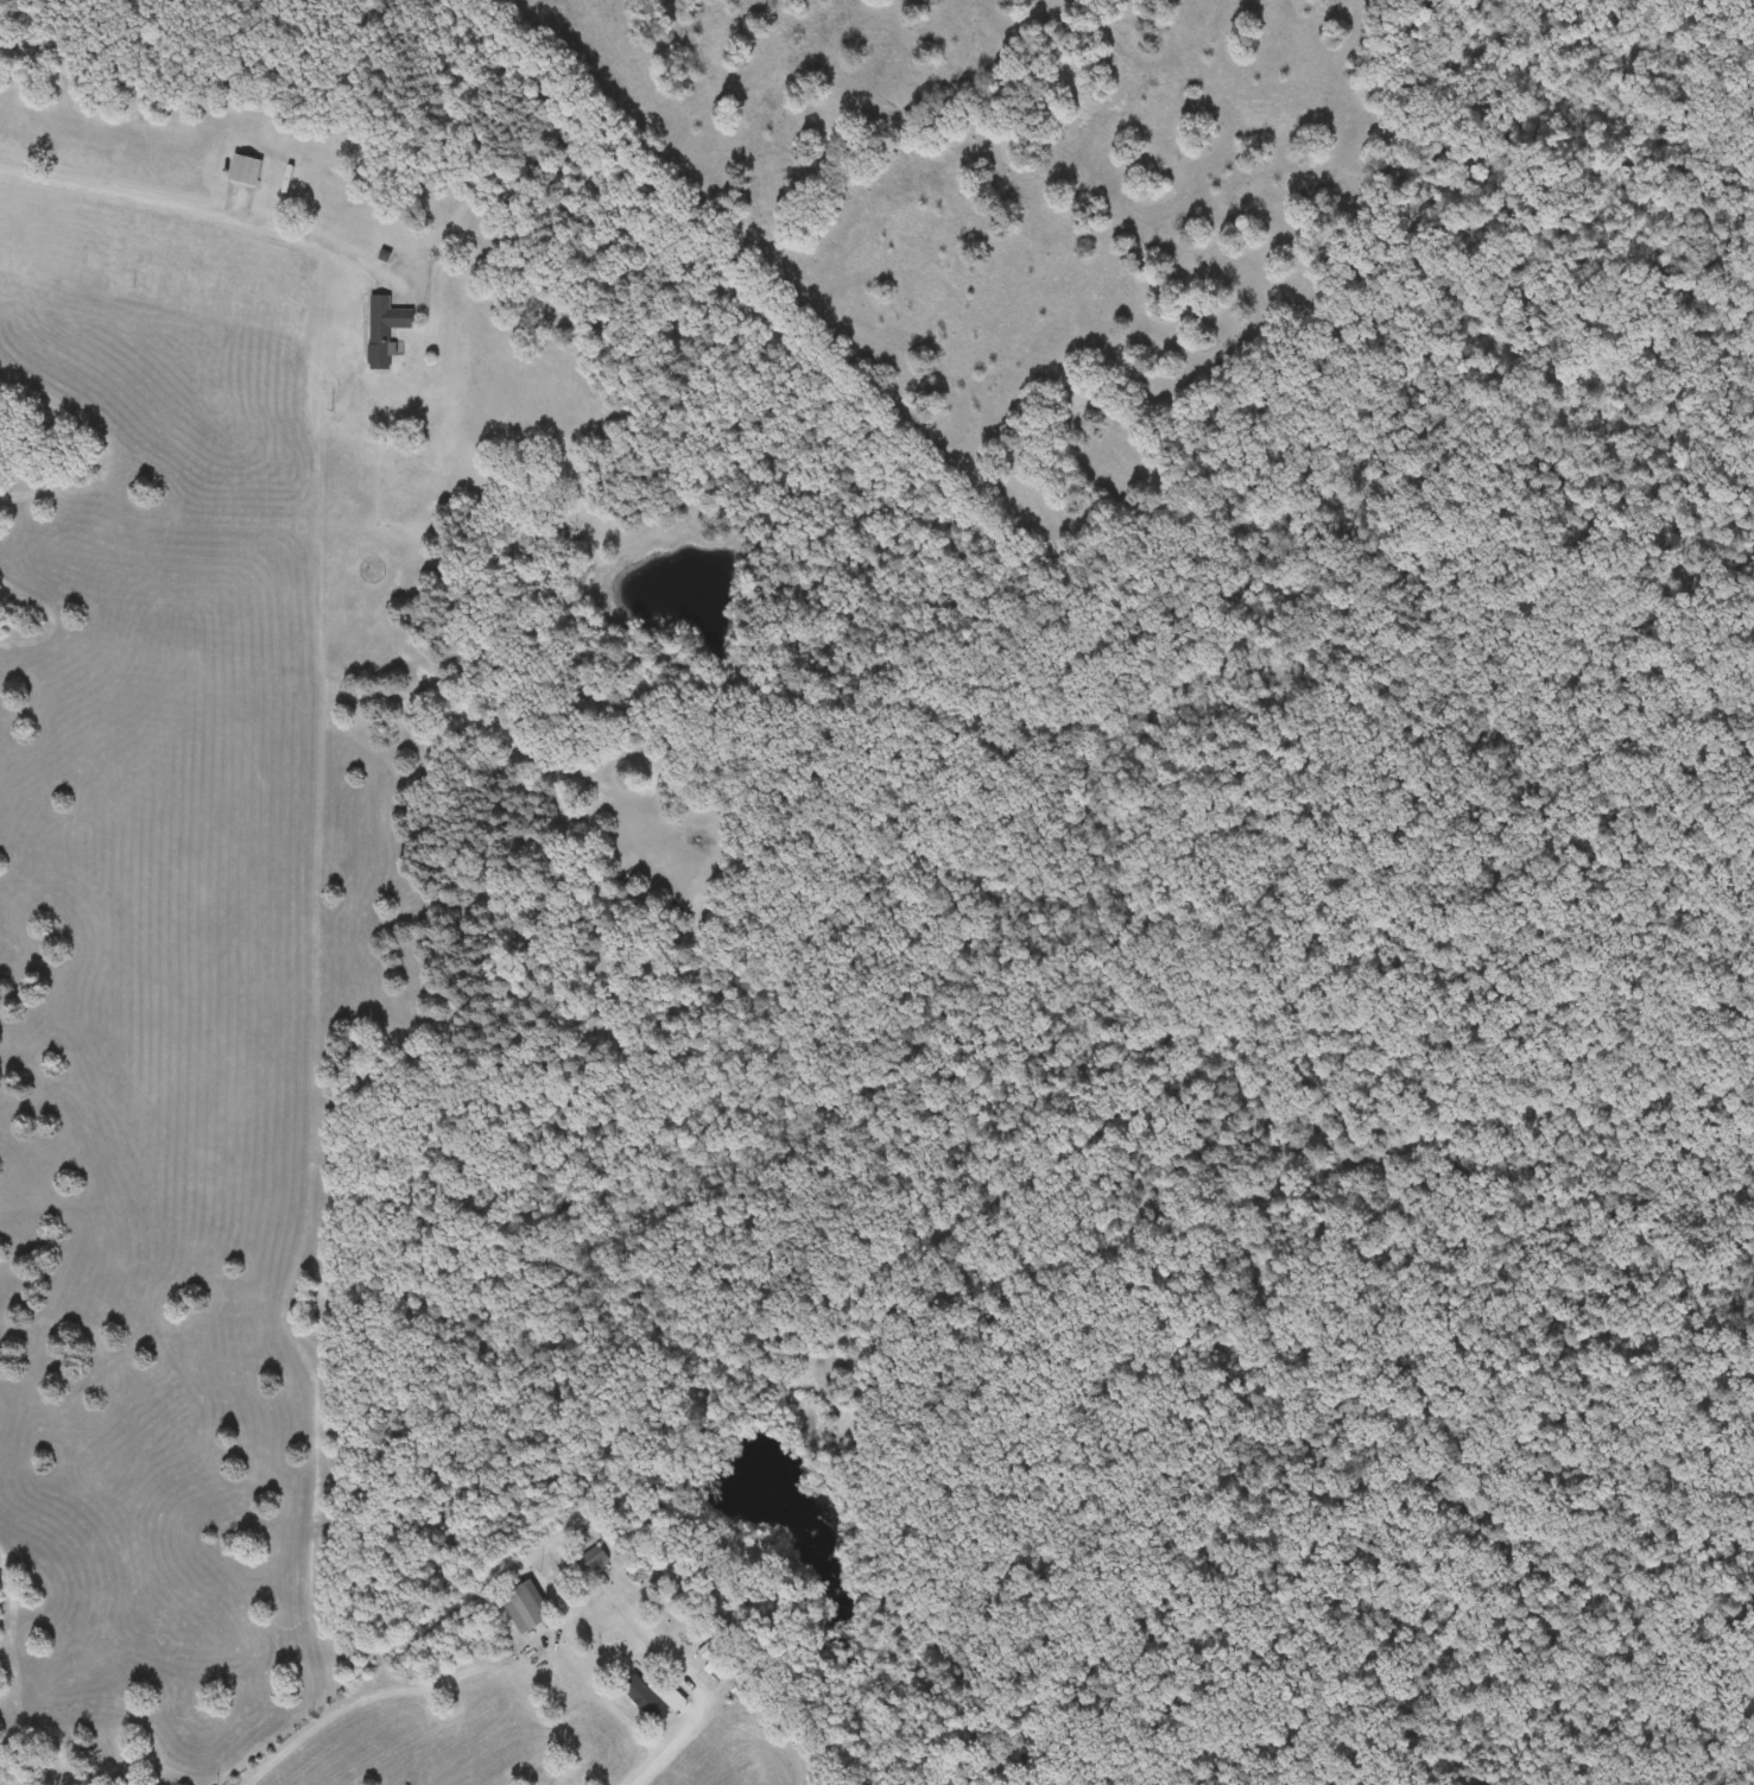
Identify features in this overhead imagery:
building: (246, 172)
road: (205, 208)
building: (385, 330)
building: (593, 1561)
building: (527, 1607)
building: (720, 1667)
road: (697, 1692)
building: (656, 1698)

